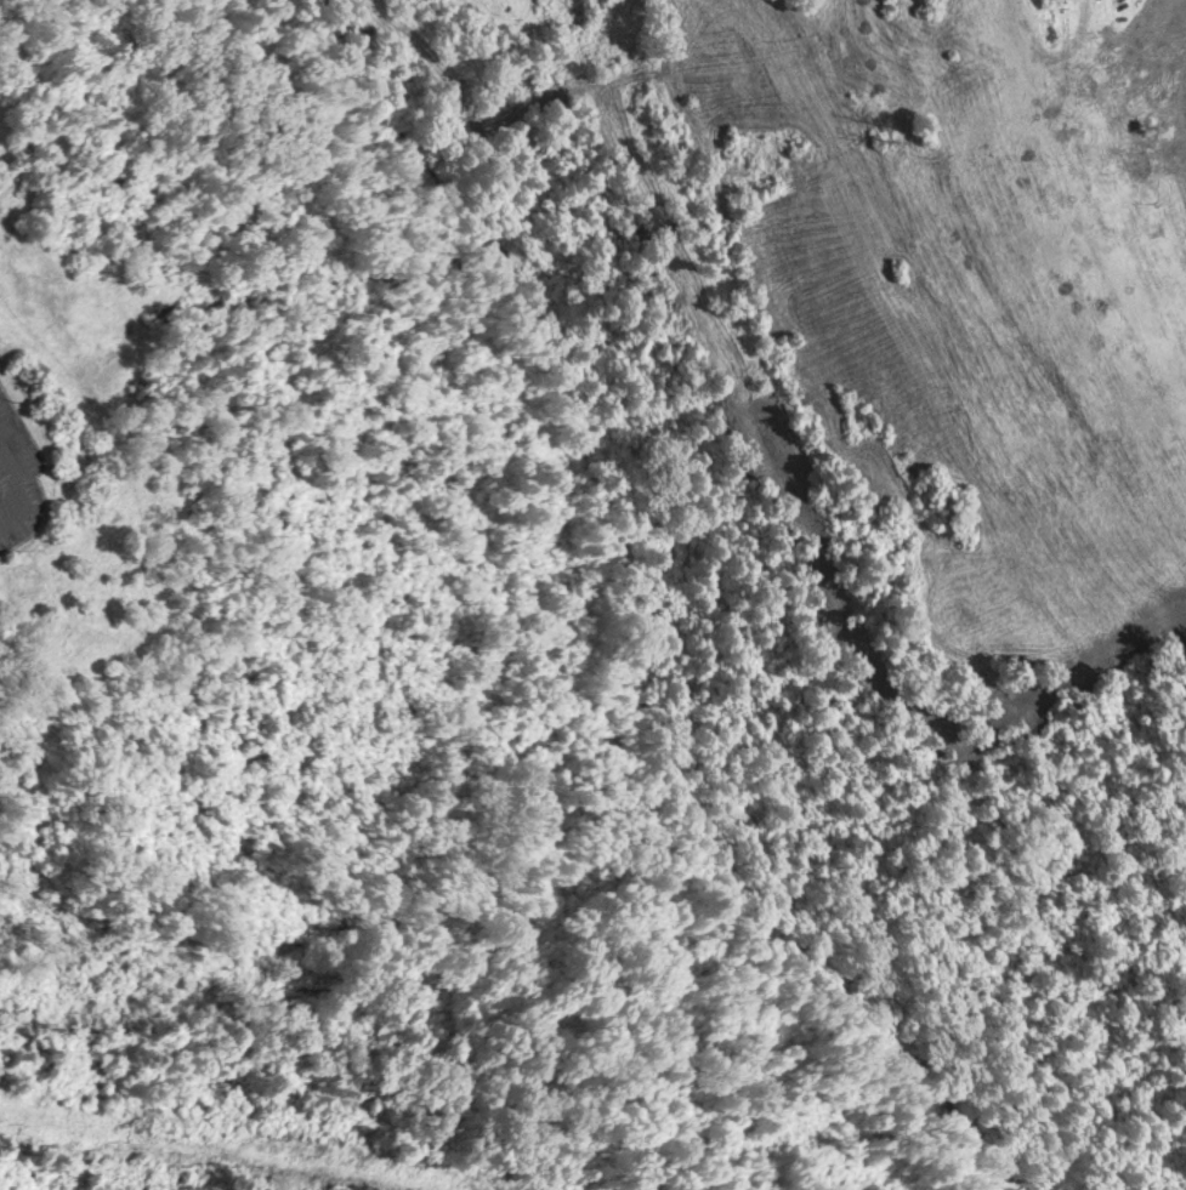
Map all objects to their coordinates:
road: (13, 478)

